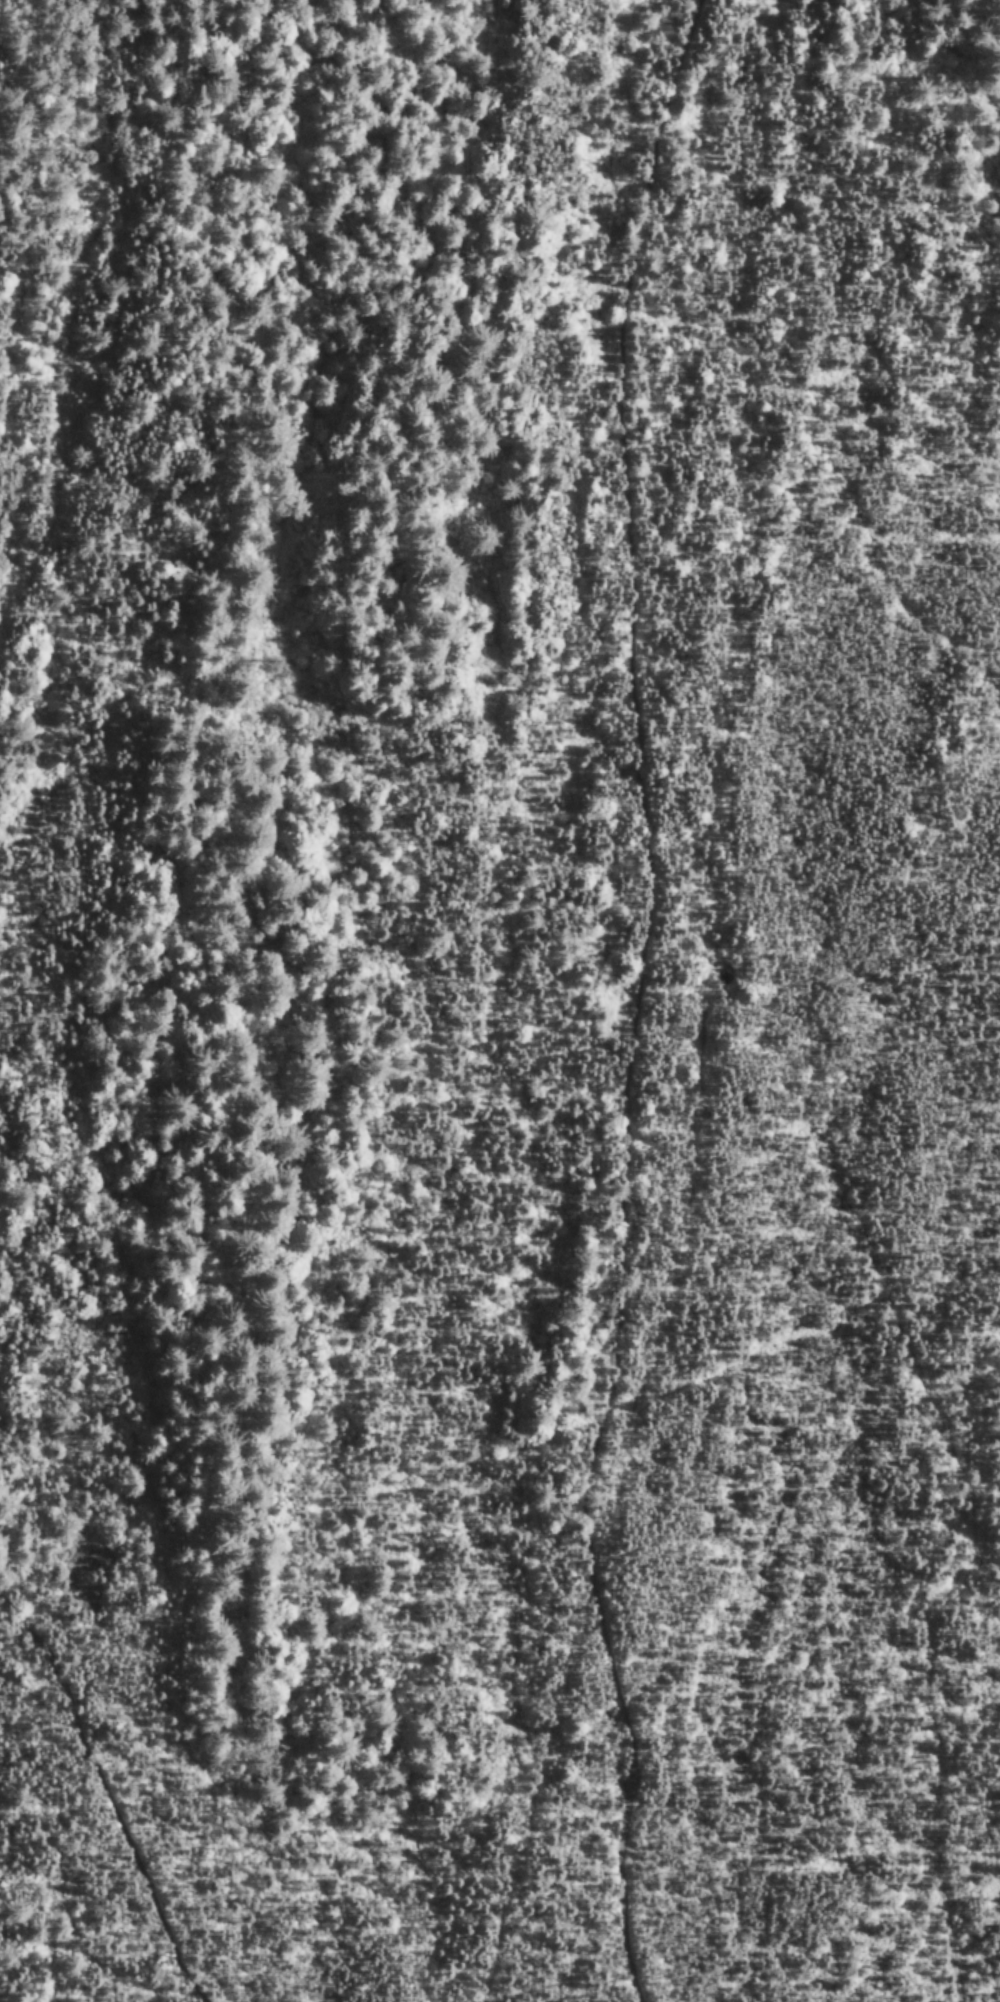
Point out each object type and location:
road: (638, 1002)
road: (107, 1802)

